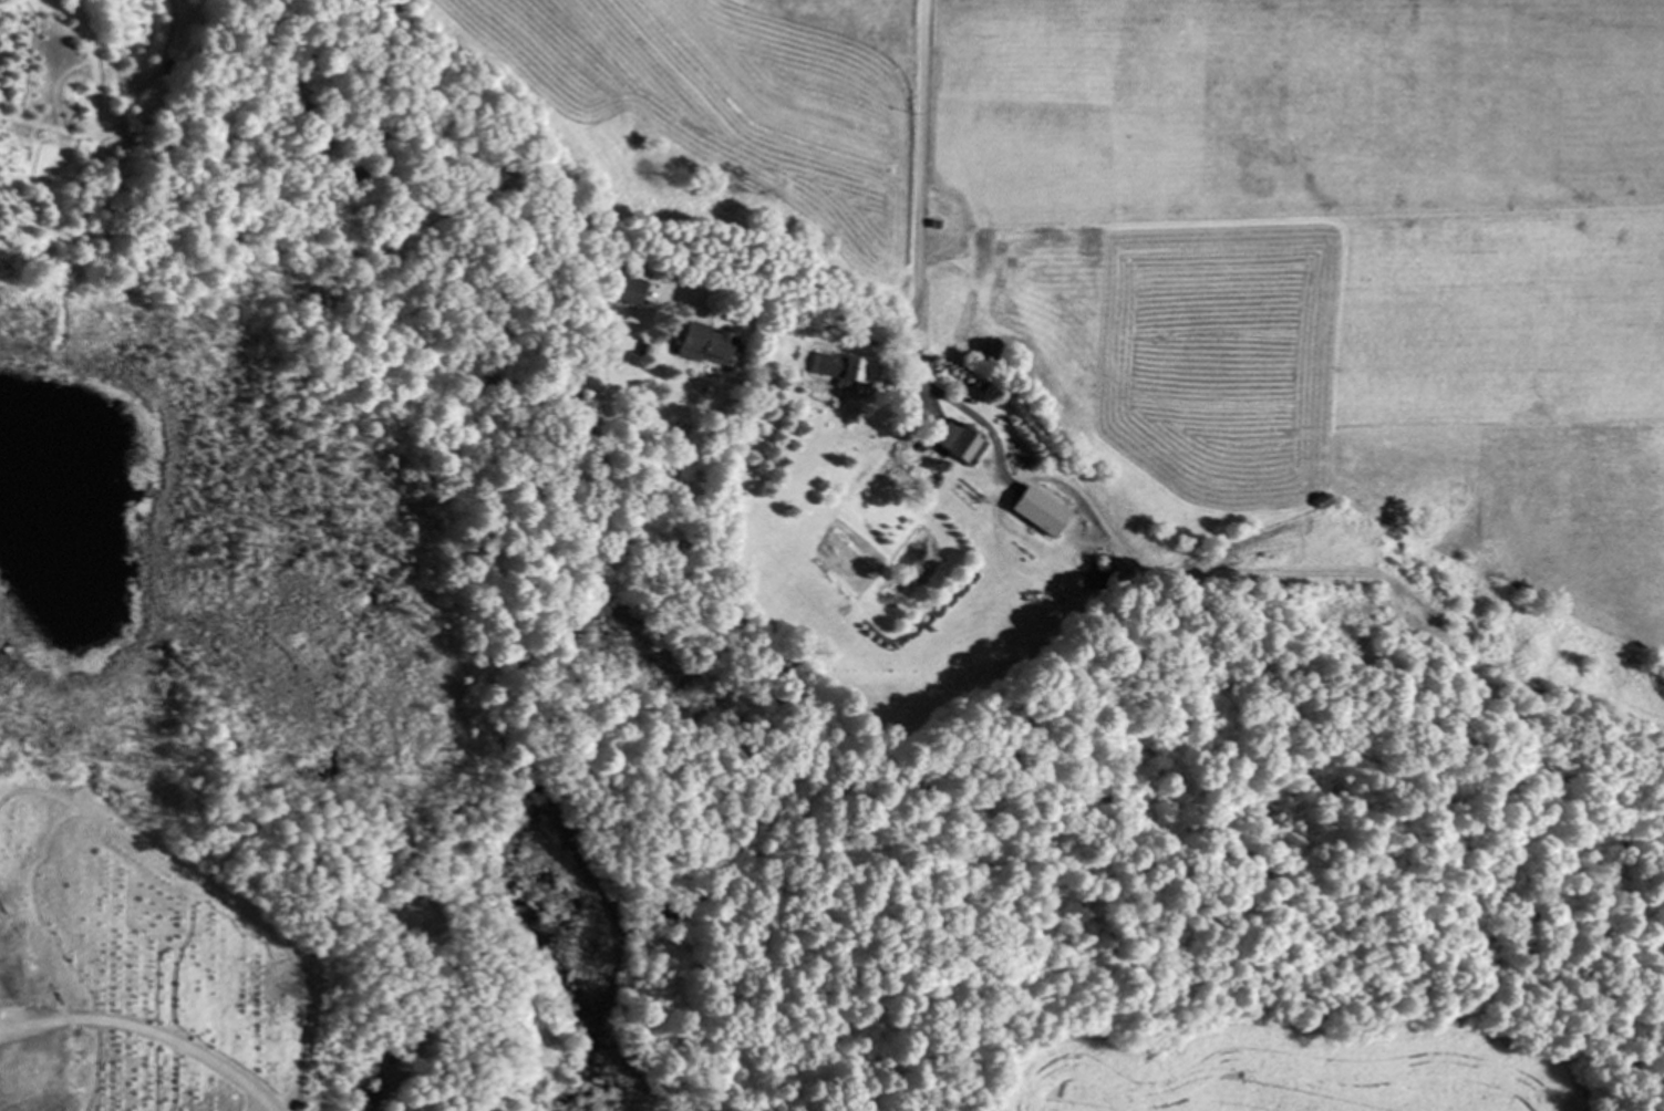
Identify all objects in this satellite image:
road: (924, 196)
building: (628, 290)
road: (802, 302)
building: (703, 342)
building: (843, 368)
building: (961, 444)
building: (1038, 511)

